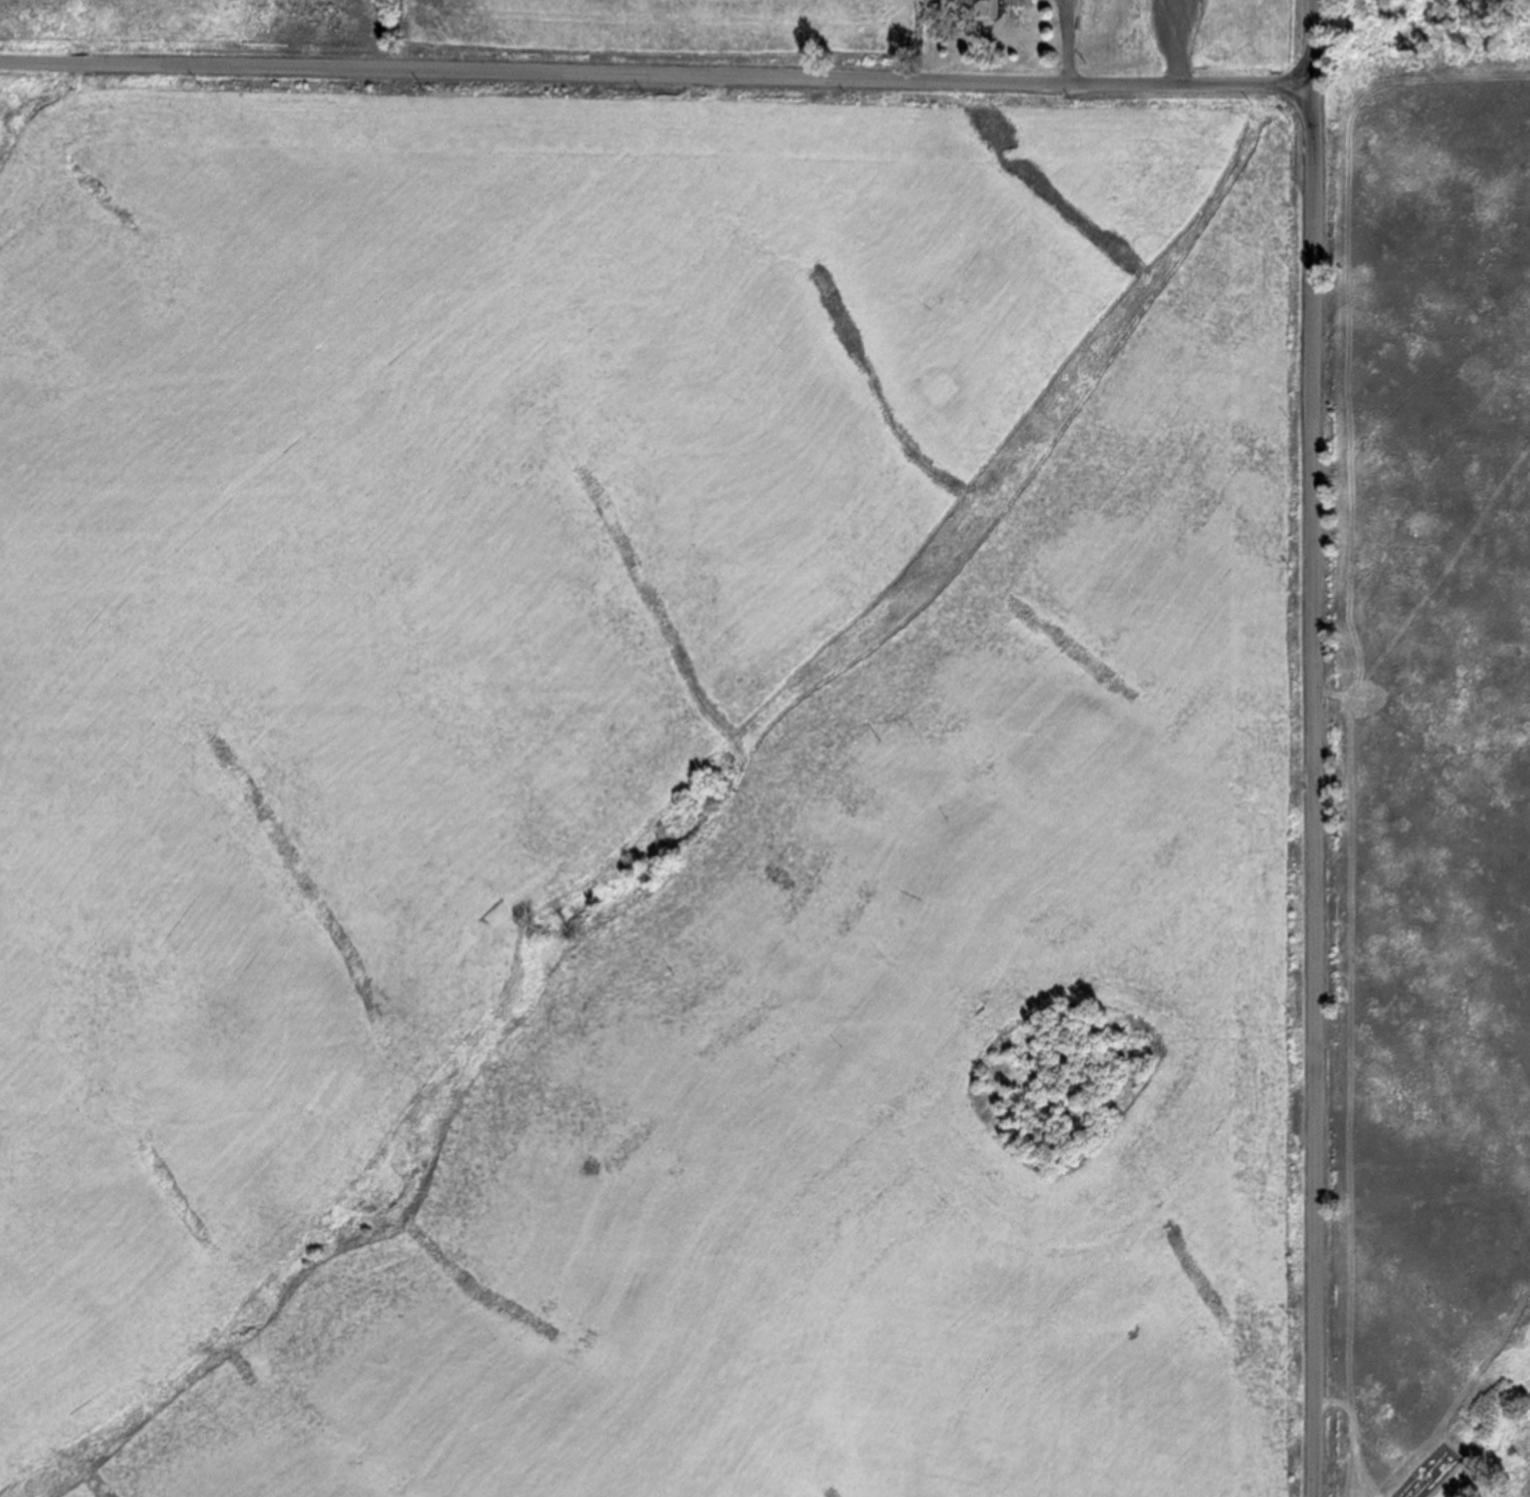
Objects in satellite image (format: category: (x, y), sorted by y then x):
building: (981, 8)
road: (1069, 41)
road: (1180, 41)
road: (657, 73)
road: (1318, 748)

